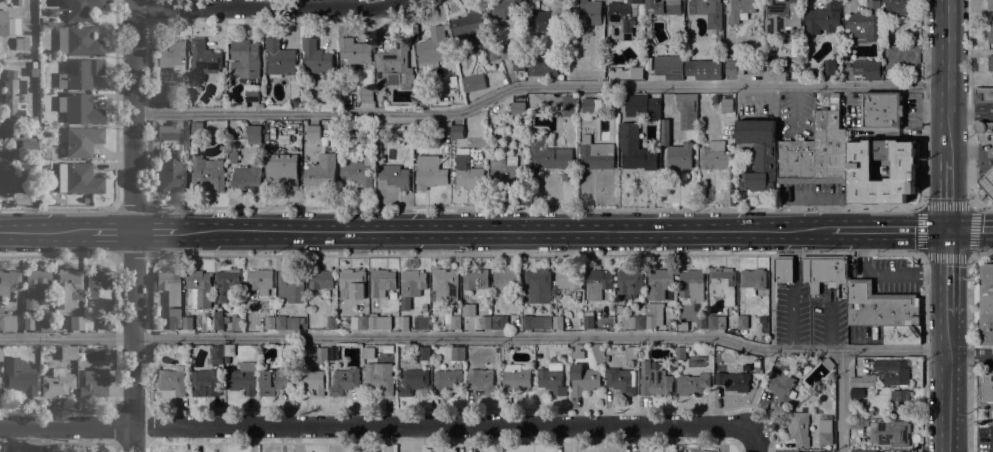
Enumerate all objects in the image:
building: (16, 2)
building: (989, 4)
road: (268, 6)
building: (663, 7)
building: (897, 7)
building: (81, 9)
building: (506, 9)
building: (740, 10)
building: (708, 11)
building: (589, 12)
building: (782, 16)
building: (544, 18)
building: (823, 18)
building: (622, 19)
building: (3, 23)
building: (864, 23)
building: (13, 26)
building: (469, 29)
building: (990, 33)
building: (78, 41)
building: (25, 43)
building: (19, 44)
building: (836, 44)
building: (433, 47)
building: (354, 51)
building: (559, 51)
building: (172, 53)
building: (205, 56)
building: (245, 58)
building: (279, 58)
building: (317, 58)
building: (513, 58)
building: (990, 63)
building: (394, 64)
building: (544, 66)
building: (669, 67)
building: (733, 67)
building: (755, 67)
building: (829, 67)
building: (703, 69)
building: (863, 69)
building: (79, 73)
building: (636, 73)
building: (774, 73)
building: (497, 74)
road: (948, 79)
building: (454, 81)
building: (473, 83)
road: (537, 86)
building: (252, 92)
building: (367, 94)
building: (164, 95)
building: (983, 95)
building: (13, 98)
building: (295, 101)
building: (303, 102)
building: (591, 105)
building: (726, 105)
building: (569, 106)
building: (79, 109)
building: (518, 109)
building: (653, 109)
building: (881, 109)
building: (687, 110)
building: (624, 113)
road: (970, 115)
road: (970, 115)
building: (35, 120)
building: (727, 120)
building: (418, 124)
building: (196, 126)
building: (983, 126)
building: (168, 131)
building: (665, 131)
building: (313, 132)
building: (457, 132)
building: (254, 134)
building: (378, 134)
building: (24, 138)
building: (324, 140)
building: (81, 141)
building: (334, 141)
building: (342, 147)
building: (634, 149)
building: (756, 151)
building: (814, 151)
building: (548, 153)
building: (596, 154)
building: (679, 156)
building: (234, 157)
building: (714, 158)
building: (861, 167)
building: (883, 168)
building: (7, 169)
building: (360, 169)
building: (28, 171)
building: (283, 171)
building: (432, 171)
building: (469, 171)
building: (207, 172)
building: (321, 172)
building: (505, 174)
building: (171, 175)
building: (394, 176)
building: (247, 177)
building: (78, 178)
building: (987, 181)
road: (948, 193)
building: (44, 199)
road: (968, 206)
road: (629, 208)
road: (133, 226)
road: (888, 228)
road: (970, 228)
road: (502, 229)
road: (44, 231)
road: (111, 231)
road: (154, 231)
road: (980, 253)
road: (633, 254)
road: (58, 255)
road: (132, 255)
building: (782, 269)
road: (948, 271)
road: (885, 272)
building: (826, 274)
building: (291, 279)
building: (321, 279)
building: (475, 279)
building: (506, 279)
building: (568, 279)
building: (10, 280)
building: (753, 280)
building: (259, 281)
building: (97, 282)
building: (381, 282)
building: (629, 282)
building: (227, 283)
building: (412, 283)
building: (659, 283)
building: (351, 284)
building: (445, 284)
building: (597, 284)
building: (169, 285)
building: (691, 285)
building: (537, 286)
building: (722, 286)
building: (67, 287)
building: (36, 288)
building: (199, 288)
road: (793, 288)
building: (405, 303)
building: (250, 304)
building: (986, 304)
building: (879, 306)
building: (423, 307)
building: (468, 310)
building: (642, 310)
building: (611, 311)
building: (653, 316)
building: (174, 319)
building: (588, 320)
building: (7, 321)
building: (373, 321)
building: (76, 322)
building: (106, 322)
building: (188, 322)
building: (218, 322)
building: (236, 322)
building: (269, 322)
building: (332, 322)
building: (358, 322)
building: (403, 322)
building: (421, 322)
building: (455, 322)
building: (485, 322)
building: (499, 322)
building: (535, 322)
building: (558, 322)
building: (633, 322)
building: (701, 322)
building: (715, 322)
building: (743, 322)
building: (281, 323)
building: (37, 324)
building: (682, 327)
building: (899, 334)
road: (474, 336)
building: (388, 349)
building: (67, 352)
building: (578, 352)
building: (630, 352)
building: (0, 353)
building: (287, 353)
building: (321, 353)
building: (332, 353)
building: (423, 353)
building: (457, 353)
building: (680, 353)
road: (968, 353)
building: (217, 354)
road: (970, 355)
building: (369, 358)
building: (606, 358)
building: (828, 364)
building: (747, 366)
building: (79, 368)
building: (892, 371)
building: (19, 375)
building: (515, 378)
building: (551, 378)
building: (737, 378)
building: (584, 379)
building: (861, 379)
building: (171, 381)
building: (205, 381)
building: (239, 381)
building: (273, 381)
building: (310, 381)
building: (343, 381)
building: (379, 381)
building: (412, 381)
building: (446, 381)
building: (482, 381)
building: (621, 381)
building: (654, 381)
building: (56, 382)
building: (93, 383)
building: (692, 383)
road: (947, 384)
building: (782, 386)
building: (987, 387)
building: (856, 393)
road: (840, 400)
building: (899, 402)
building: (829, 420)
building: (857, 424)
road: (374, 425)
building: (799, 428)
building: (890, 433)
building: (823, 438)
parking lot: (984, 439)
road: (753, 441)
building: (679, 449)
building: (702, 451)
building: (802, 451)
building: (826, 451)
building: (863, 451)

